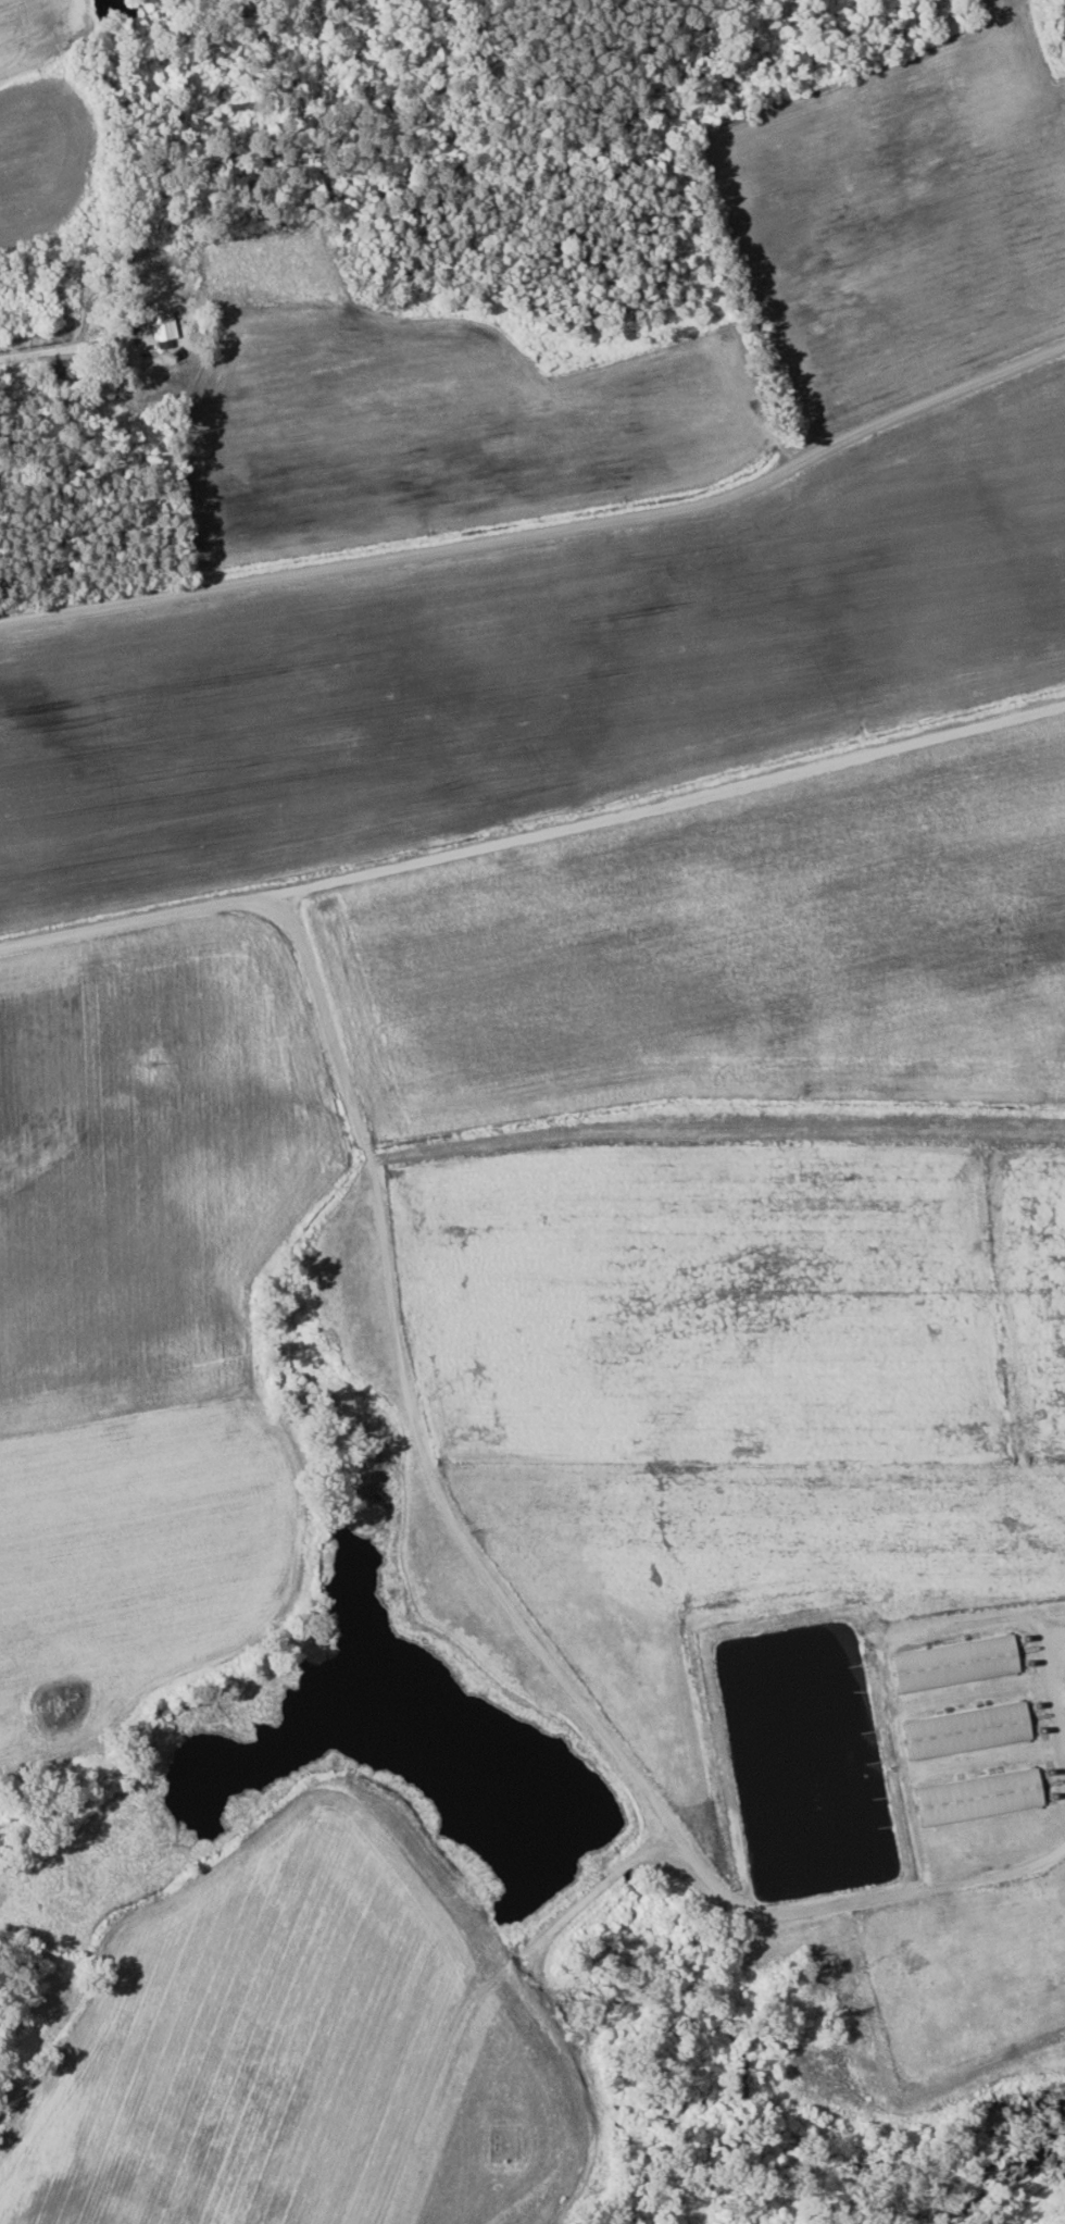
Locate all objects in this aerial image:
building: (163, 326)
road: (16, 611)
building: (955, 1663)
building: (968, 1731)
building: (980, 1798)

